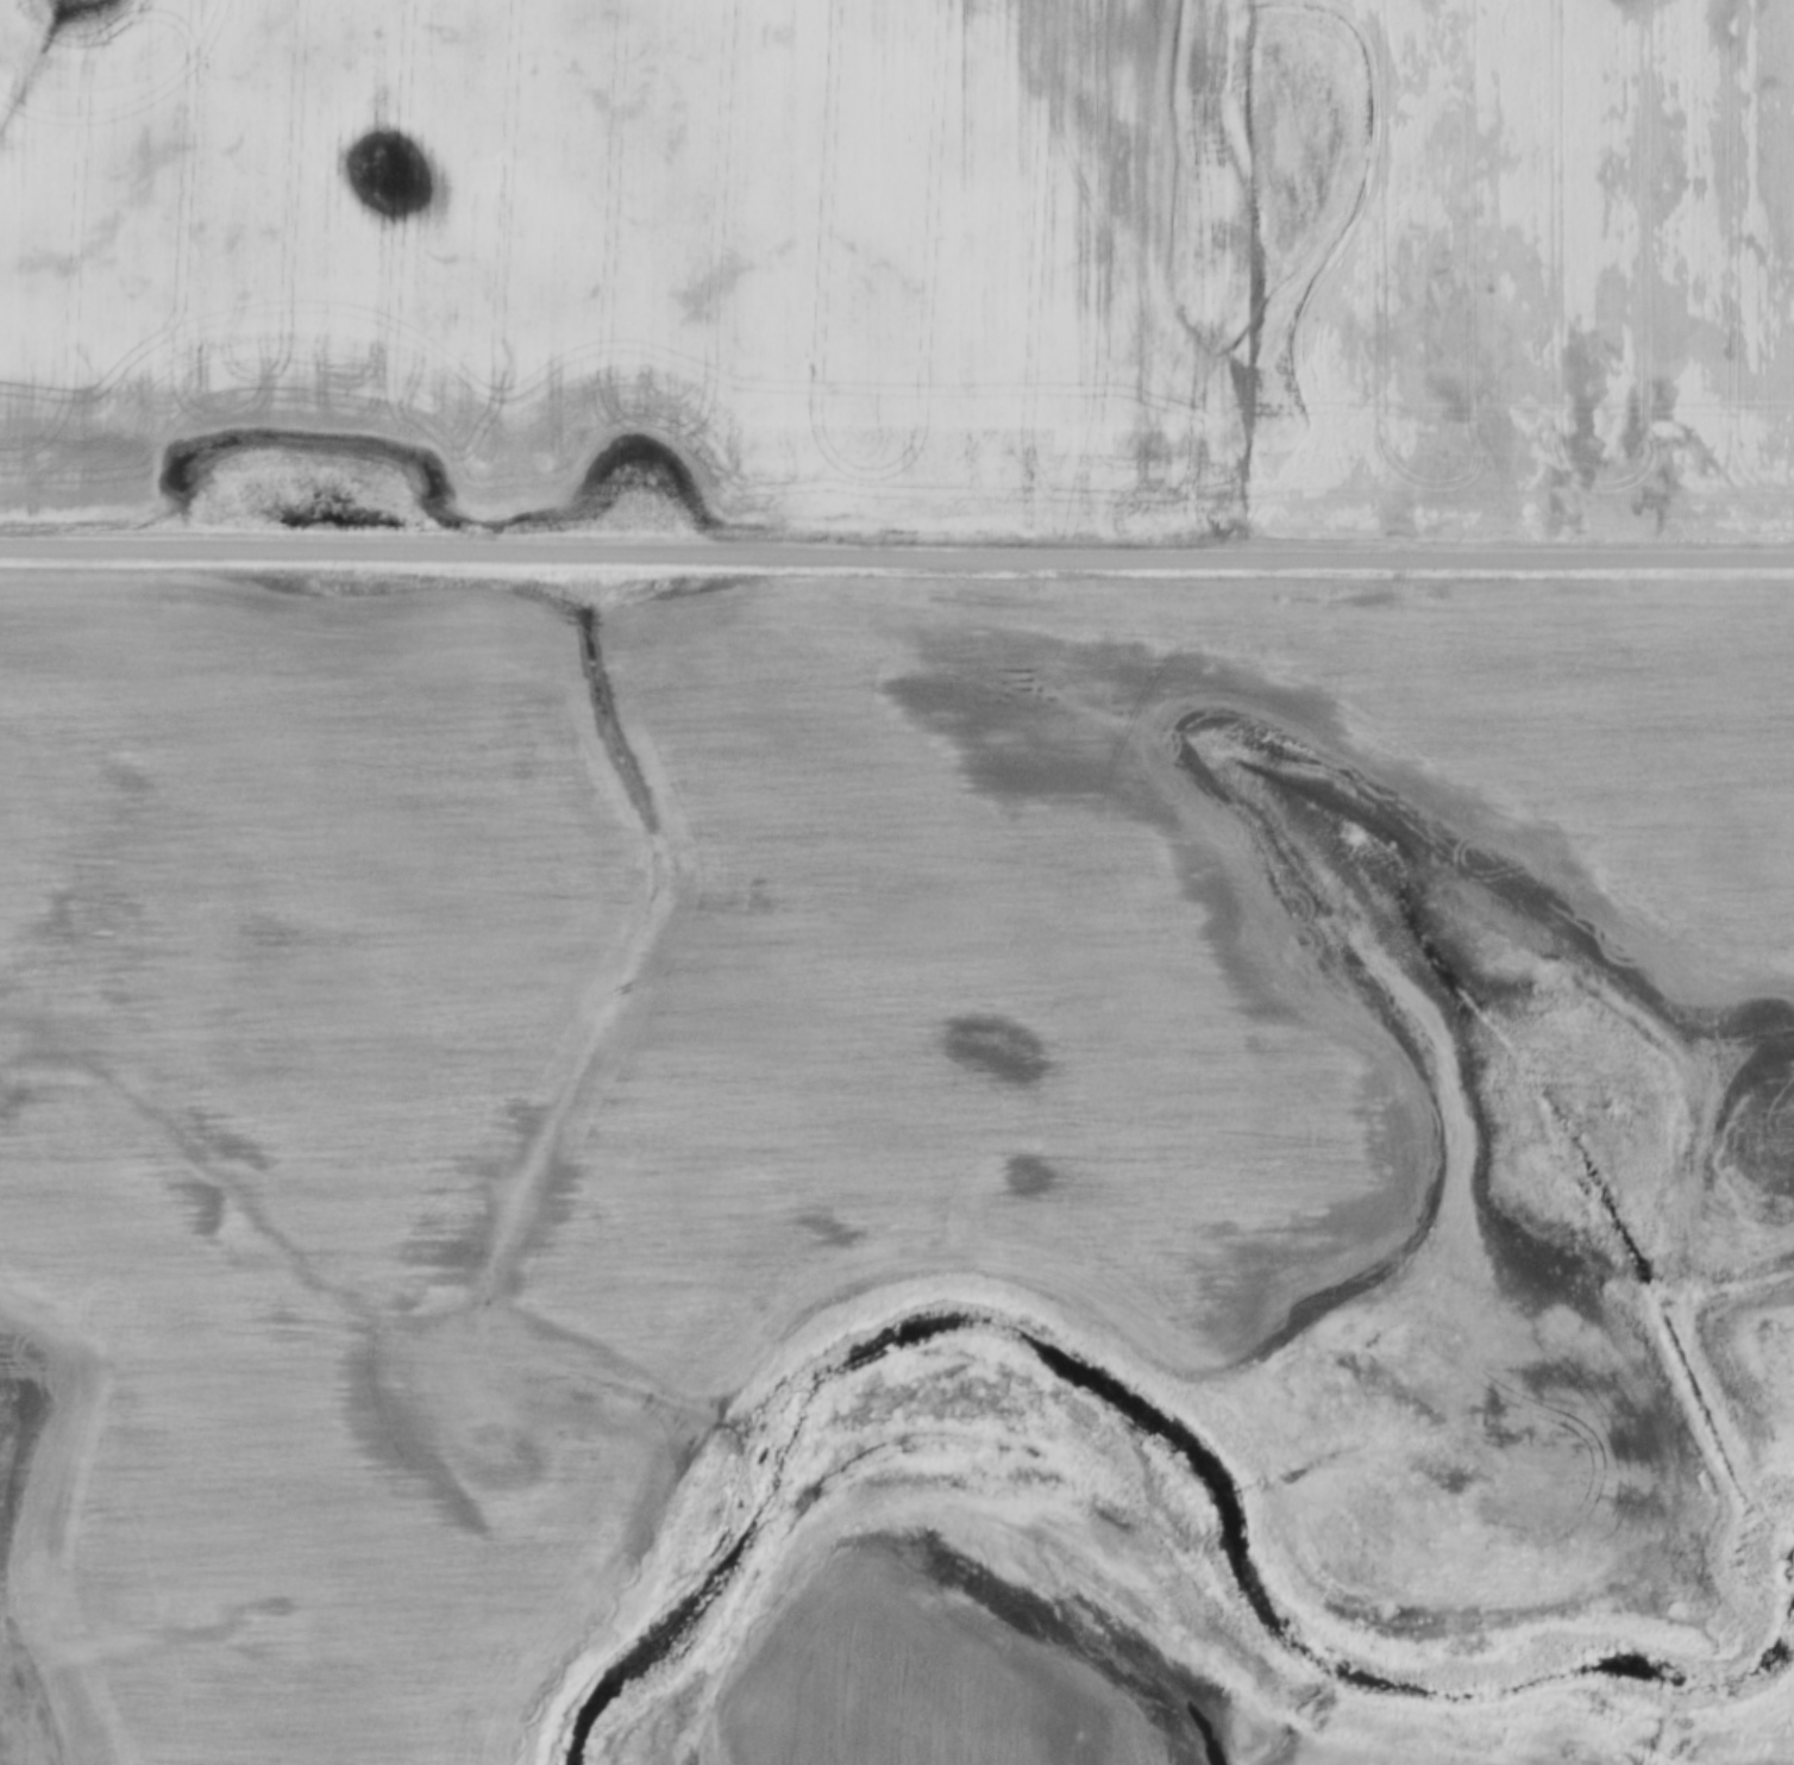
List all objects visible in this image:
road: (896, 555)

